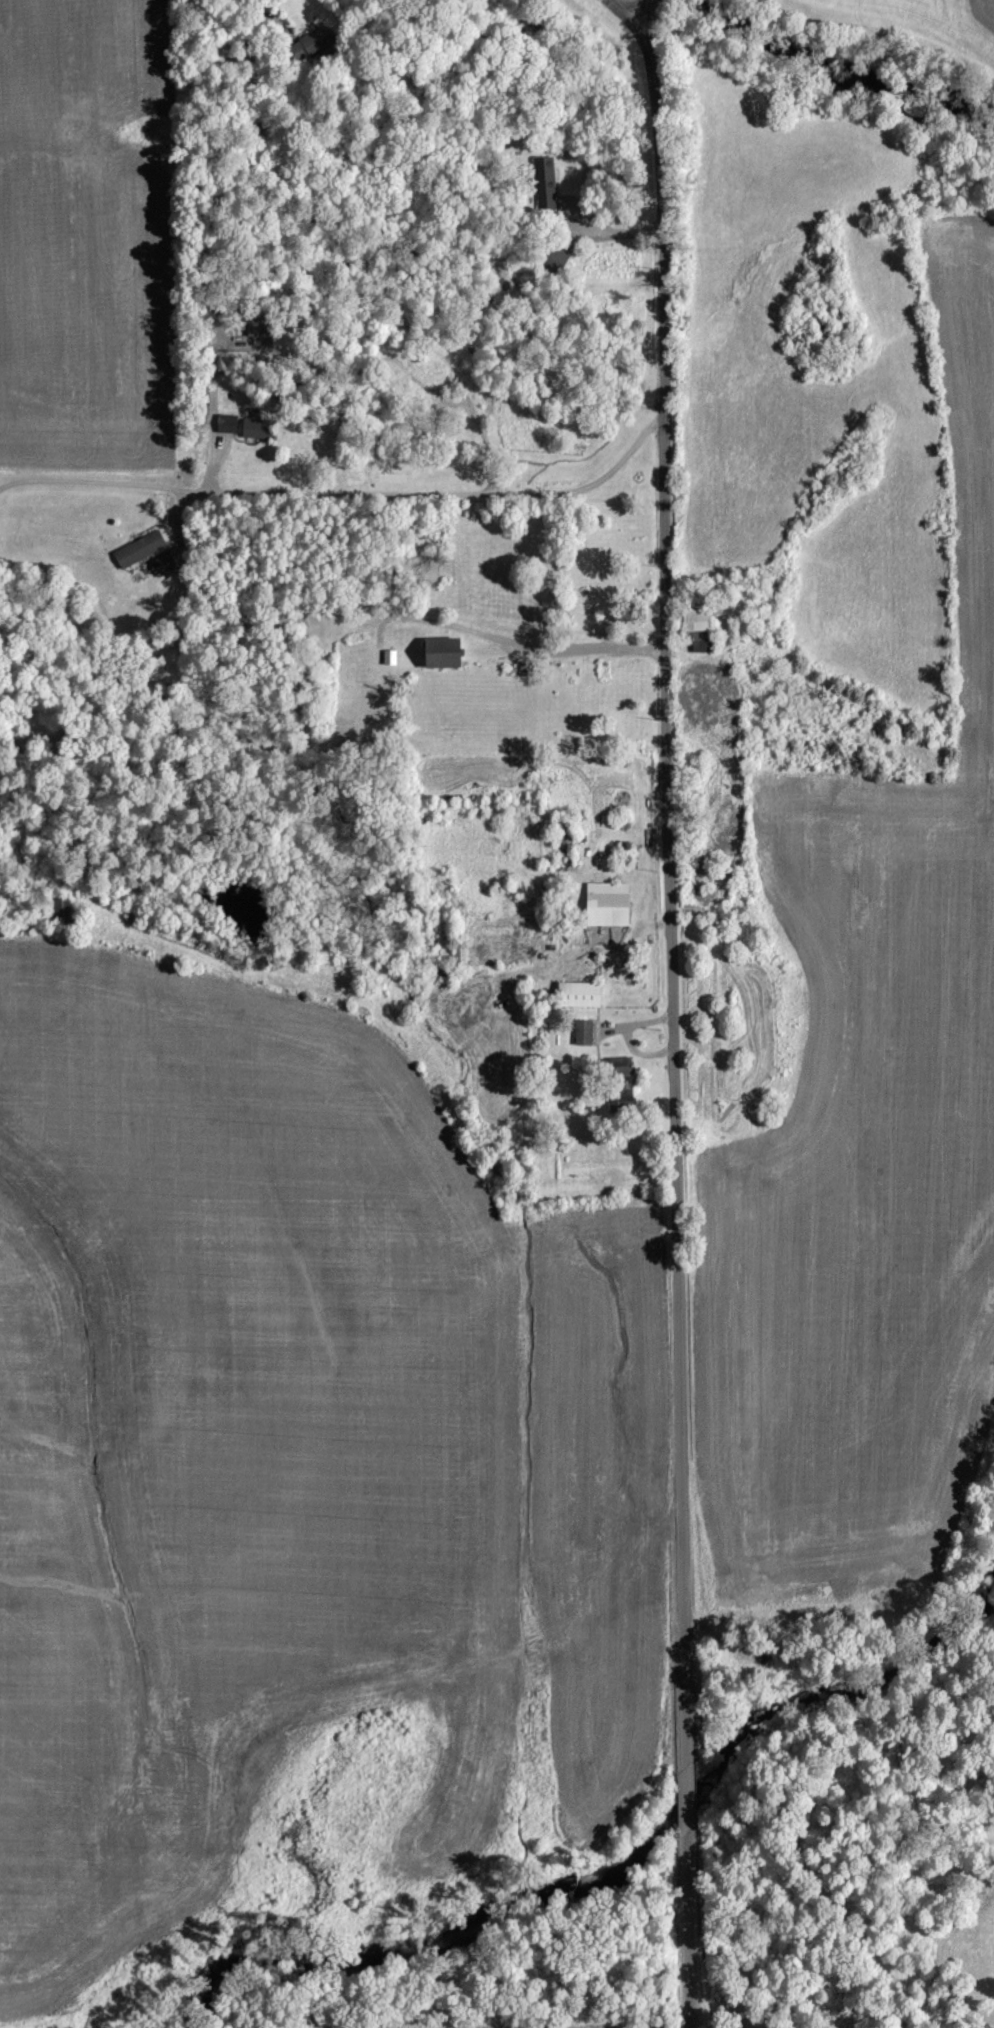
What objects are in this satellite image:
road: (618, 11)
road: (639, 43)
building: (545, 184)
building: (261, 327)
building: (228, 424)
building: (258, 429)
building: (141, 548)
building: (165, 563)
building: (700, 628)
building: (446, 652)
building: (609, 904)
road: (671, 925)
building: (581, 994)
building: (585, 1032)
building: (623, 1066)
road: (686, 1801)
road: (688, 1934)

